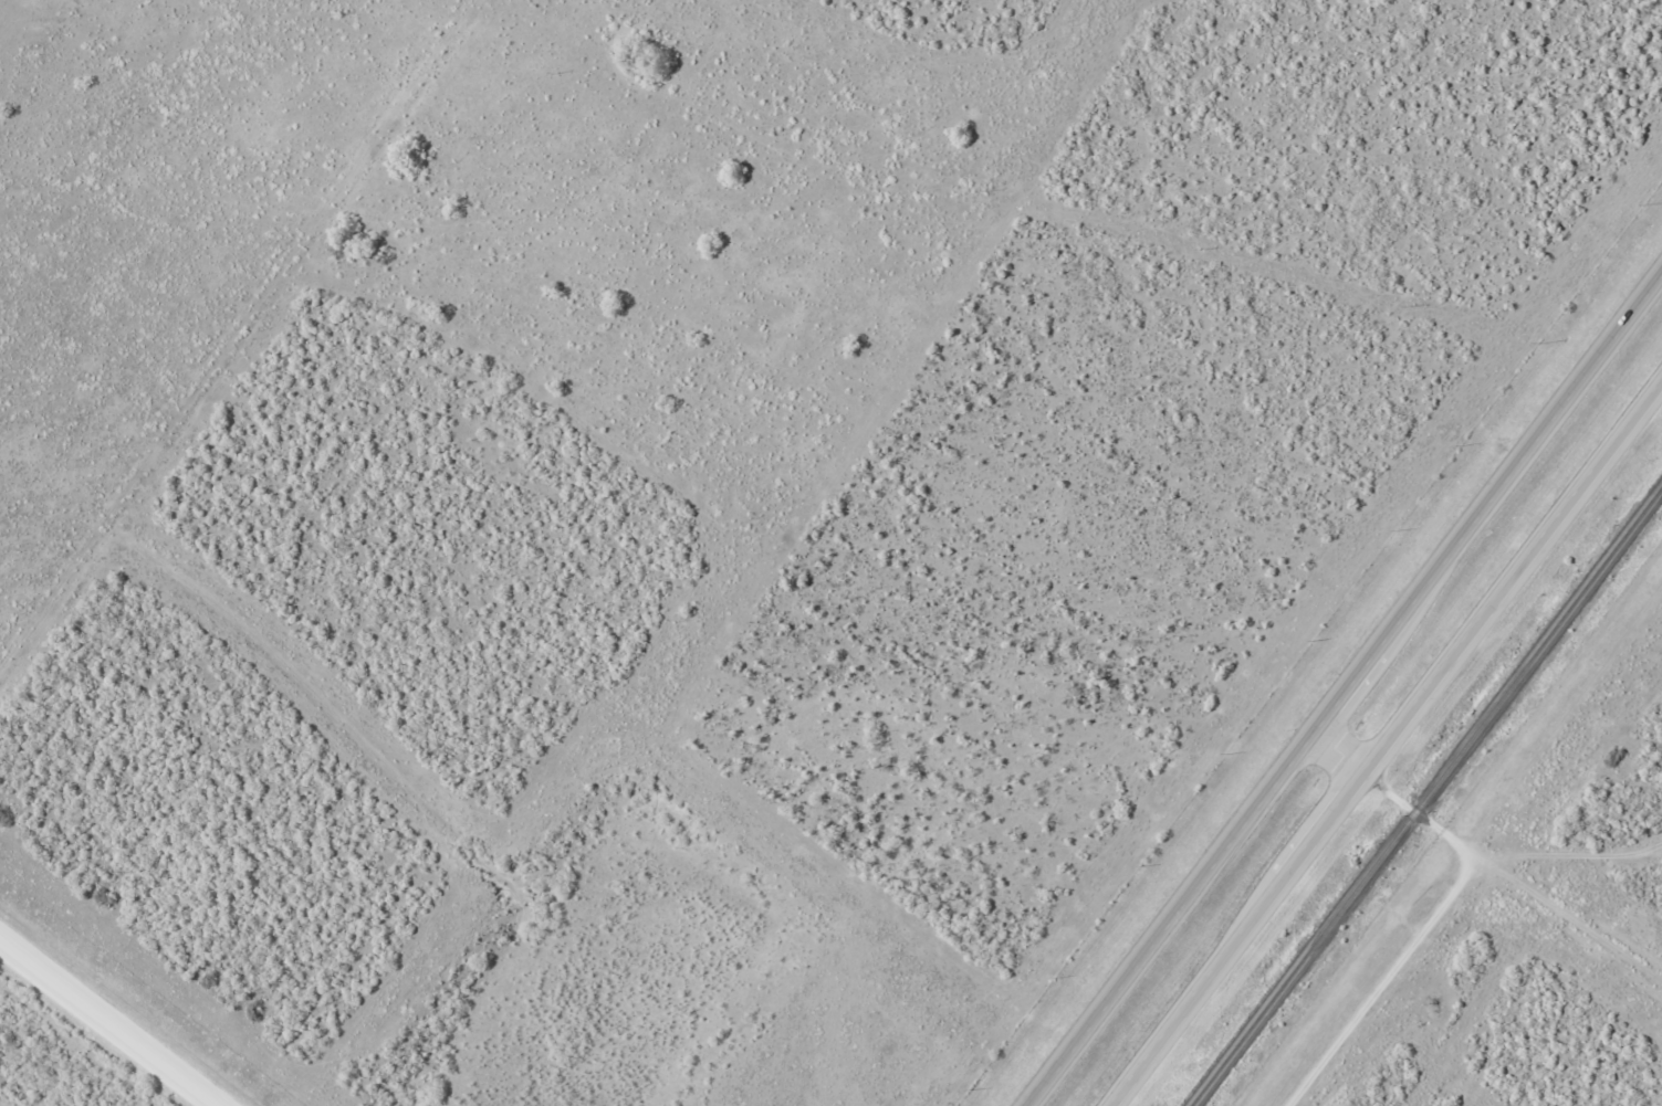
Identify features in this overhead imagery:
building: (1613, 446)
road: (1345, 686)
road: (1386, 742)
railway: (1425, 799)
building: (1229, 838)
road: (1484, 861)
road: (1384, 981)
road: (100, 1028)

